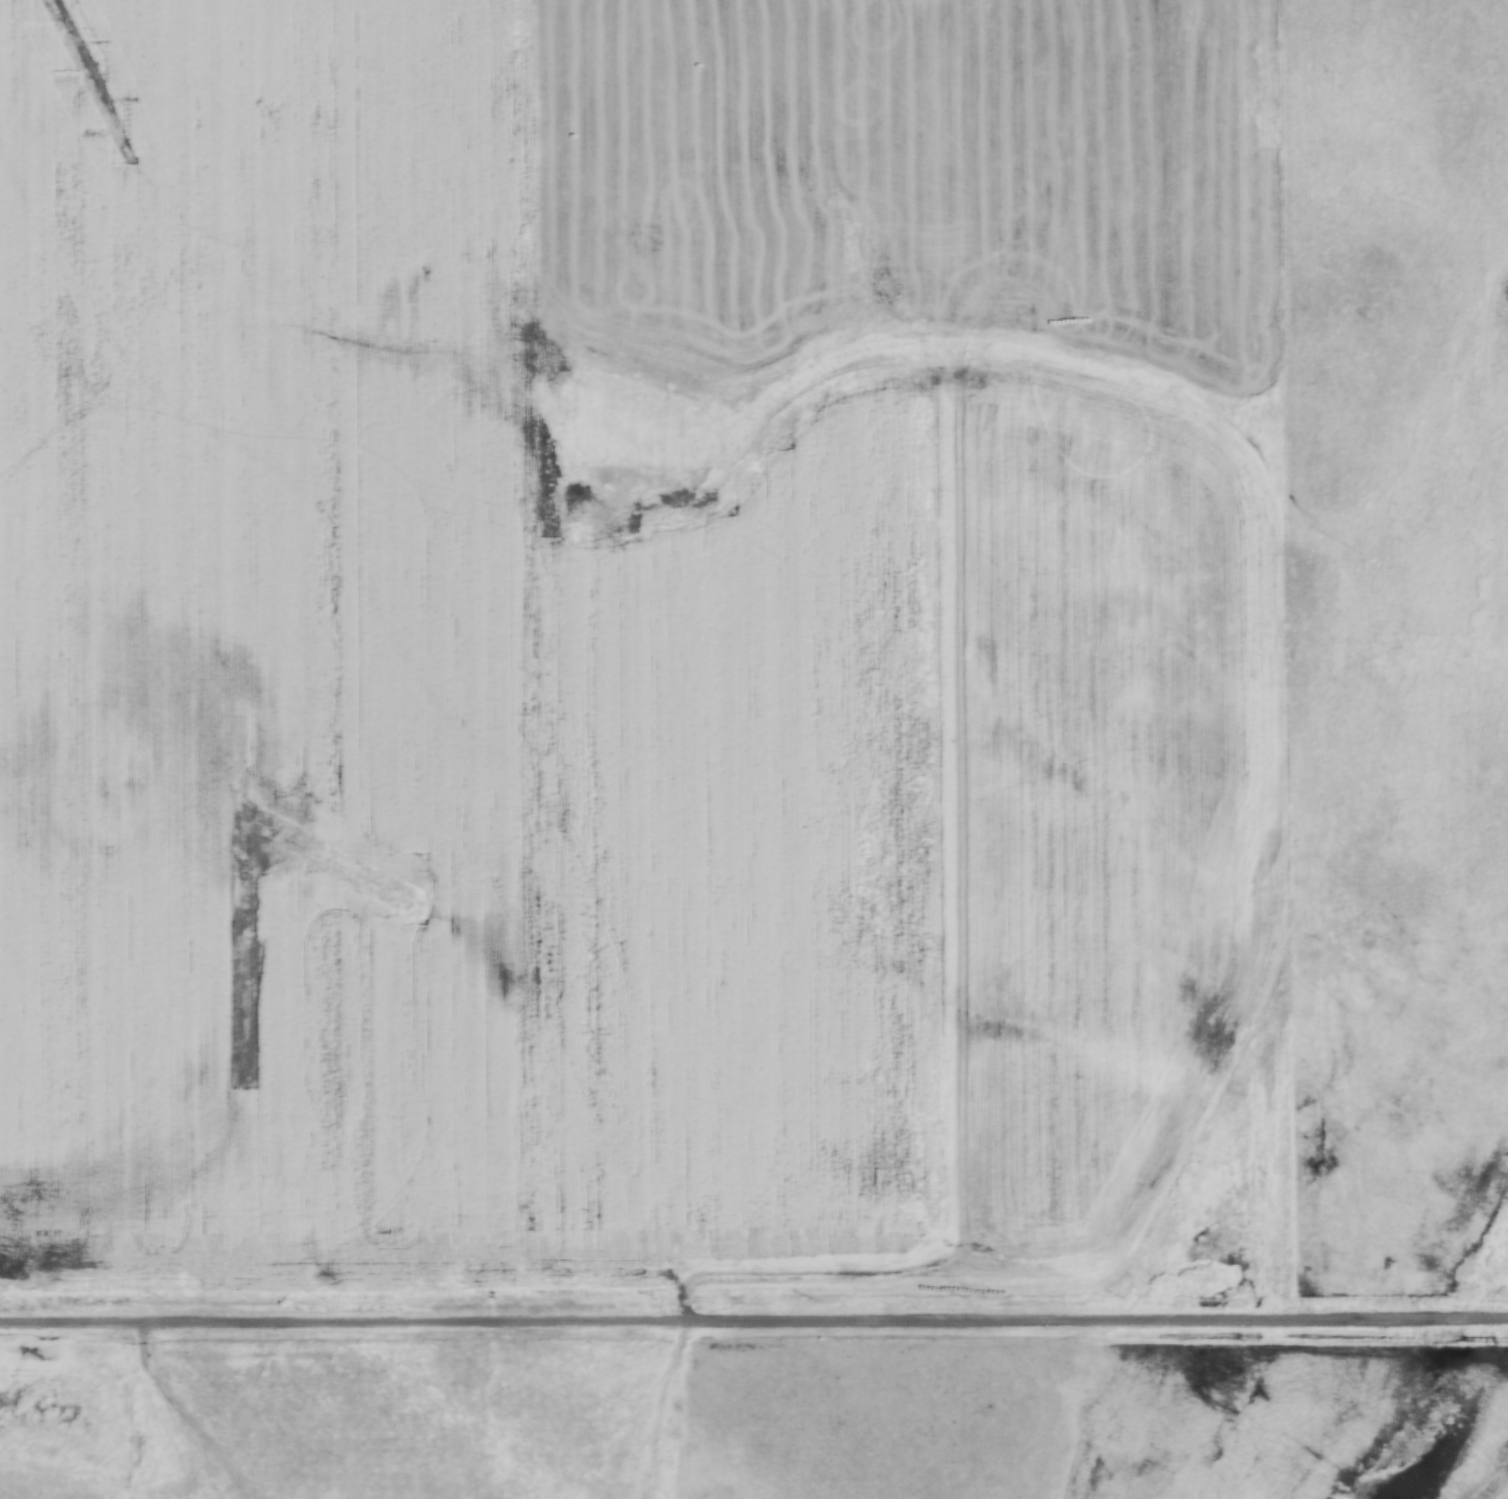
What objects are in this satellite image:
road: (753, 1322)
road: (167, 1417)
road: (127, 1431)

